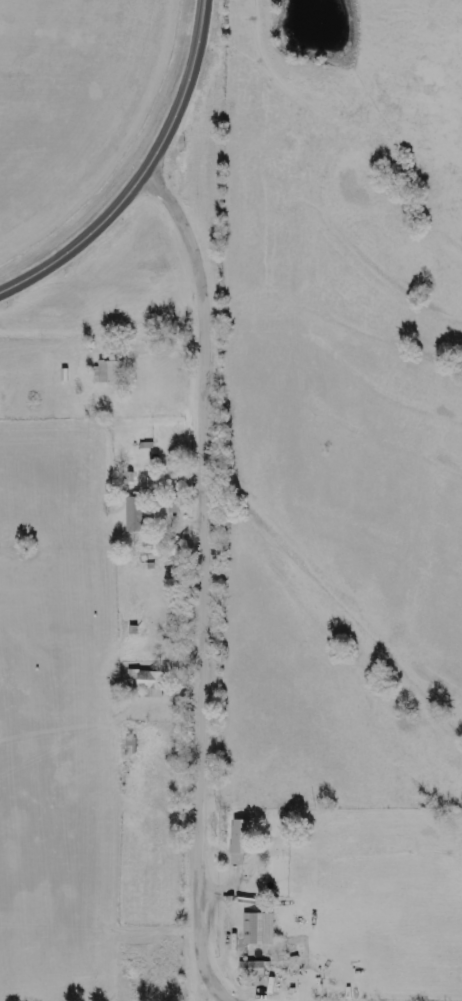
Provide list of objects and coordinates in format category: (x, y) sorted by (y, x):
road: (142, 175)
building: (110, 371)
building: (135, 514)
road: (208, 584)
building: (147, 682)
building: (240, 840)
building: (258, 928)
building: (252, 968)

